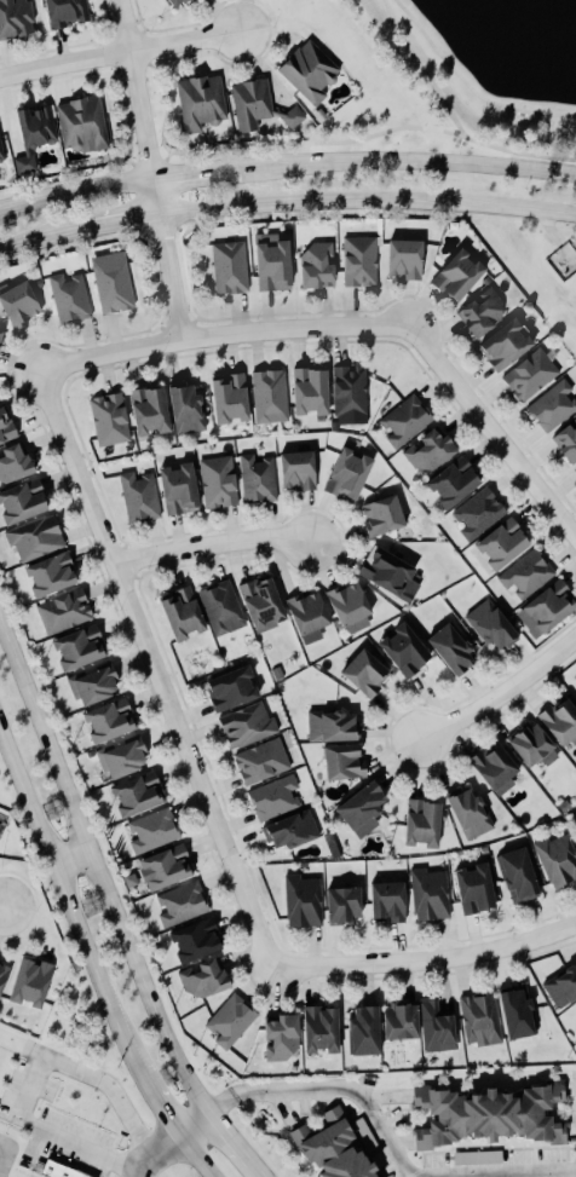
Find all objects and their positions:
building: (185, 2)
building: (71, 12)
building: (17, 19)
road: (119, 56)
road: (424, 68)
building: (313, 73)
road: (468, 86)
building: (205, 103)
building: (255, 105)
building: (318, 115)
building: (296, 117)
building: (86, 126)
building: (38, 135)
road: (364, 138)
building: (2, 149)
road: (408, 161)
road: (150, 168)
road: (196, 177)
road: (75, 192)
road: (367, 201)
road: (119, 220)
road: (39, 240)
building: (411, 260)
building: (364, 262)
building: (281, 267)
building: (323, 267)
building: (235, 269)
building: (465, 277)
building: (116, 284)
building: (73, 299)
building: (24, 306)
building: (488, 313)
road: (219, 335)
building: (4, 341)
building: (513, 347)
building: (535, 376)
building: (317, 393)
building: (355, 396)
building: (273, 398)
building: (236, 402)
building: (557, 408)
building: (192, 411)
building: (156, 414)
building: (114, 421)
building: (409, 421)
building: (8, 428)
road: (490, 433)
building: (569, 443)
building: (434, 452)
building: (18, 466)
building: (296, 471)
building: (353, 477)
building: (260, 480)
building: (223, 483)
building: (461, 484)
building: (184, 490)
building: (143, 497)
building: (29, 503)
building: (483, 514)
building: (381, 515)
building: (40, 540)
road: (209, 547)
building: (509, 547)
building: (530, 575)
building: (57, 576)
building: (269, 606)
building: (356, 608)
building: (226, 610)
building: (557, 610)
building: (68, 613)
building: (189, 616)
building: (316, 617)
building: (496, 628)
building: (85, 651)
building: (408, 651)
building: (459, 651)
road: (152, 670)
building: (276, 674)
building: (363, 674)
building: (574, 677)
building: (92, 685)
building: (225, 688)
road: (499, 694)
building: (108, 722)
building: (560, 722)
building: (247, 727)
building: (333, 728)
building: (532, 748)
building: (122, 758)
building: (260, 763)
building: (344, 763)
building: (496, 768)
building: (137, 796)
building: (273, 800)
building: (563, 806)
building: (362, 810)
building: (468, 815)
building: (575, 821)
building: (422, 825)
building: (150, 832)
building: (290, 832)
road: (69, 855)
building: (557, 861)
building: (166, 870)
road: (98, 875)
building: (518, 877)
building: (474, 890)
building: (428, 895)
road: (67, 900)
building: (301, 902)
building: (388, 904)
building: (180, 905)
road: (0, 906)
building: (344, 907)
building: (195, 942)
road: (425, 960)
building: (4, 974)
building: (205, 980)
building: (30, 985)
building: (561, 988)
building: (518, 1016)
building: (479, 1021)
building: (229, 1022)
building: (401, 1023)
building: (436, 1029)
building: (321, 1031)
building: (364, 1032)
building: (575, 1035)
building: (281, 1039)
road: (91, 1075)
road: (326, 1087)
road: (156, 1100)
building: (490, 1118)
road: (192, 1123)
road: (51, 1133)
road: (230, 1144)
building: (333, 1148)
road: (4, 1150)
road: (154, 1150)
road: (194, 1154)
building: (57, 1171)
road: (525, 1173)
road: (257, 1176)

